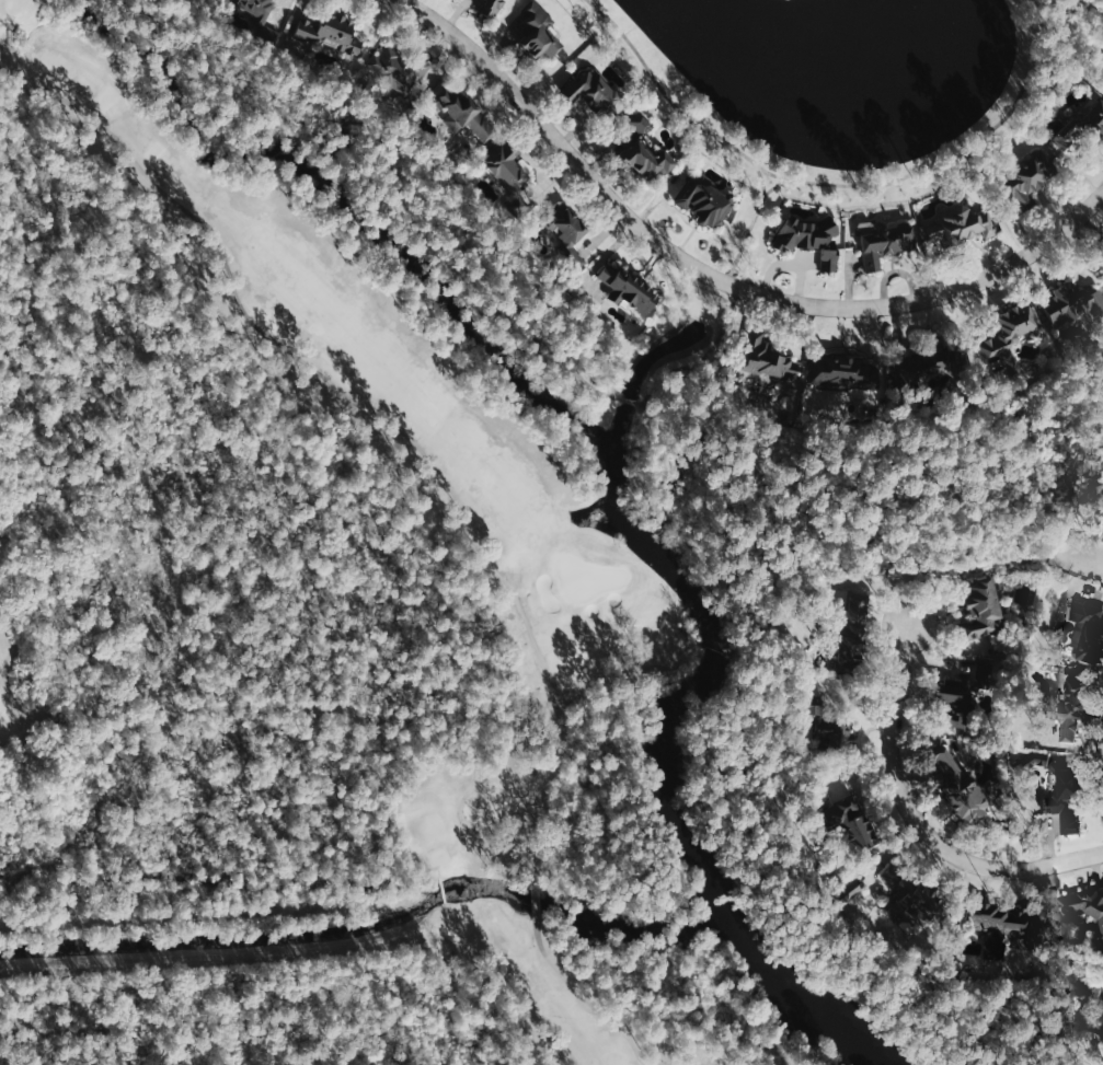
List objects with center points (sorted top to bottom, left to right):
building: (494, 8)
road: (1069, 10)
building: (255, 18)
building: (539, 31)
building: (329, 32)
building: (395, 67)
building: (591, 94)
building: (462, 111)
building: (1080, 128)
building: (647, 149)
building: (505, 166)
road: (391, 167)
road: (762, 178)
building: (1029, 181)
road: (835, 190)
building: (705, 201)
building: (564, 223)
building: (962, 225)
building: (812, 238)
building: (888, 244)
road: (717, 278)
building: (625, 287)
road: (734, 300)
building: (1072, 303)
building: (1011, 336)
building: (765, 356)
building: (933, 368)
building: (843, 371)
road: (636, 402)
road: (374, 410)
road: (863, 490)
park: (586, 577)
park: (285, 605)
building: (979, 610)
building: (851, 630)
building: (1089, 630)
building: (991, 676)
building: (957, 702)
building: (1078, 704)
building: (825, 729)
building: (963, 787)
building: (1071, 799)
road: (461, 810)
road: (919, 821)
building: (846, 822)
road: (778, 847)
road: (443, 887)
building: (909, 895)
road: (536, 896)
building: (1085, 908)
building: (991, 925)
road: (309, 952)
road: (585, 997)

